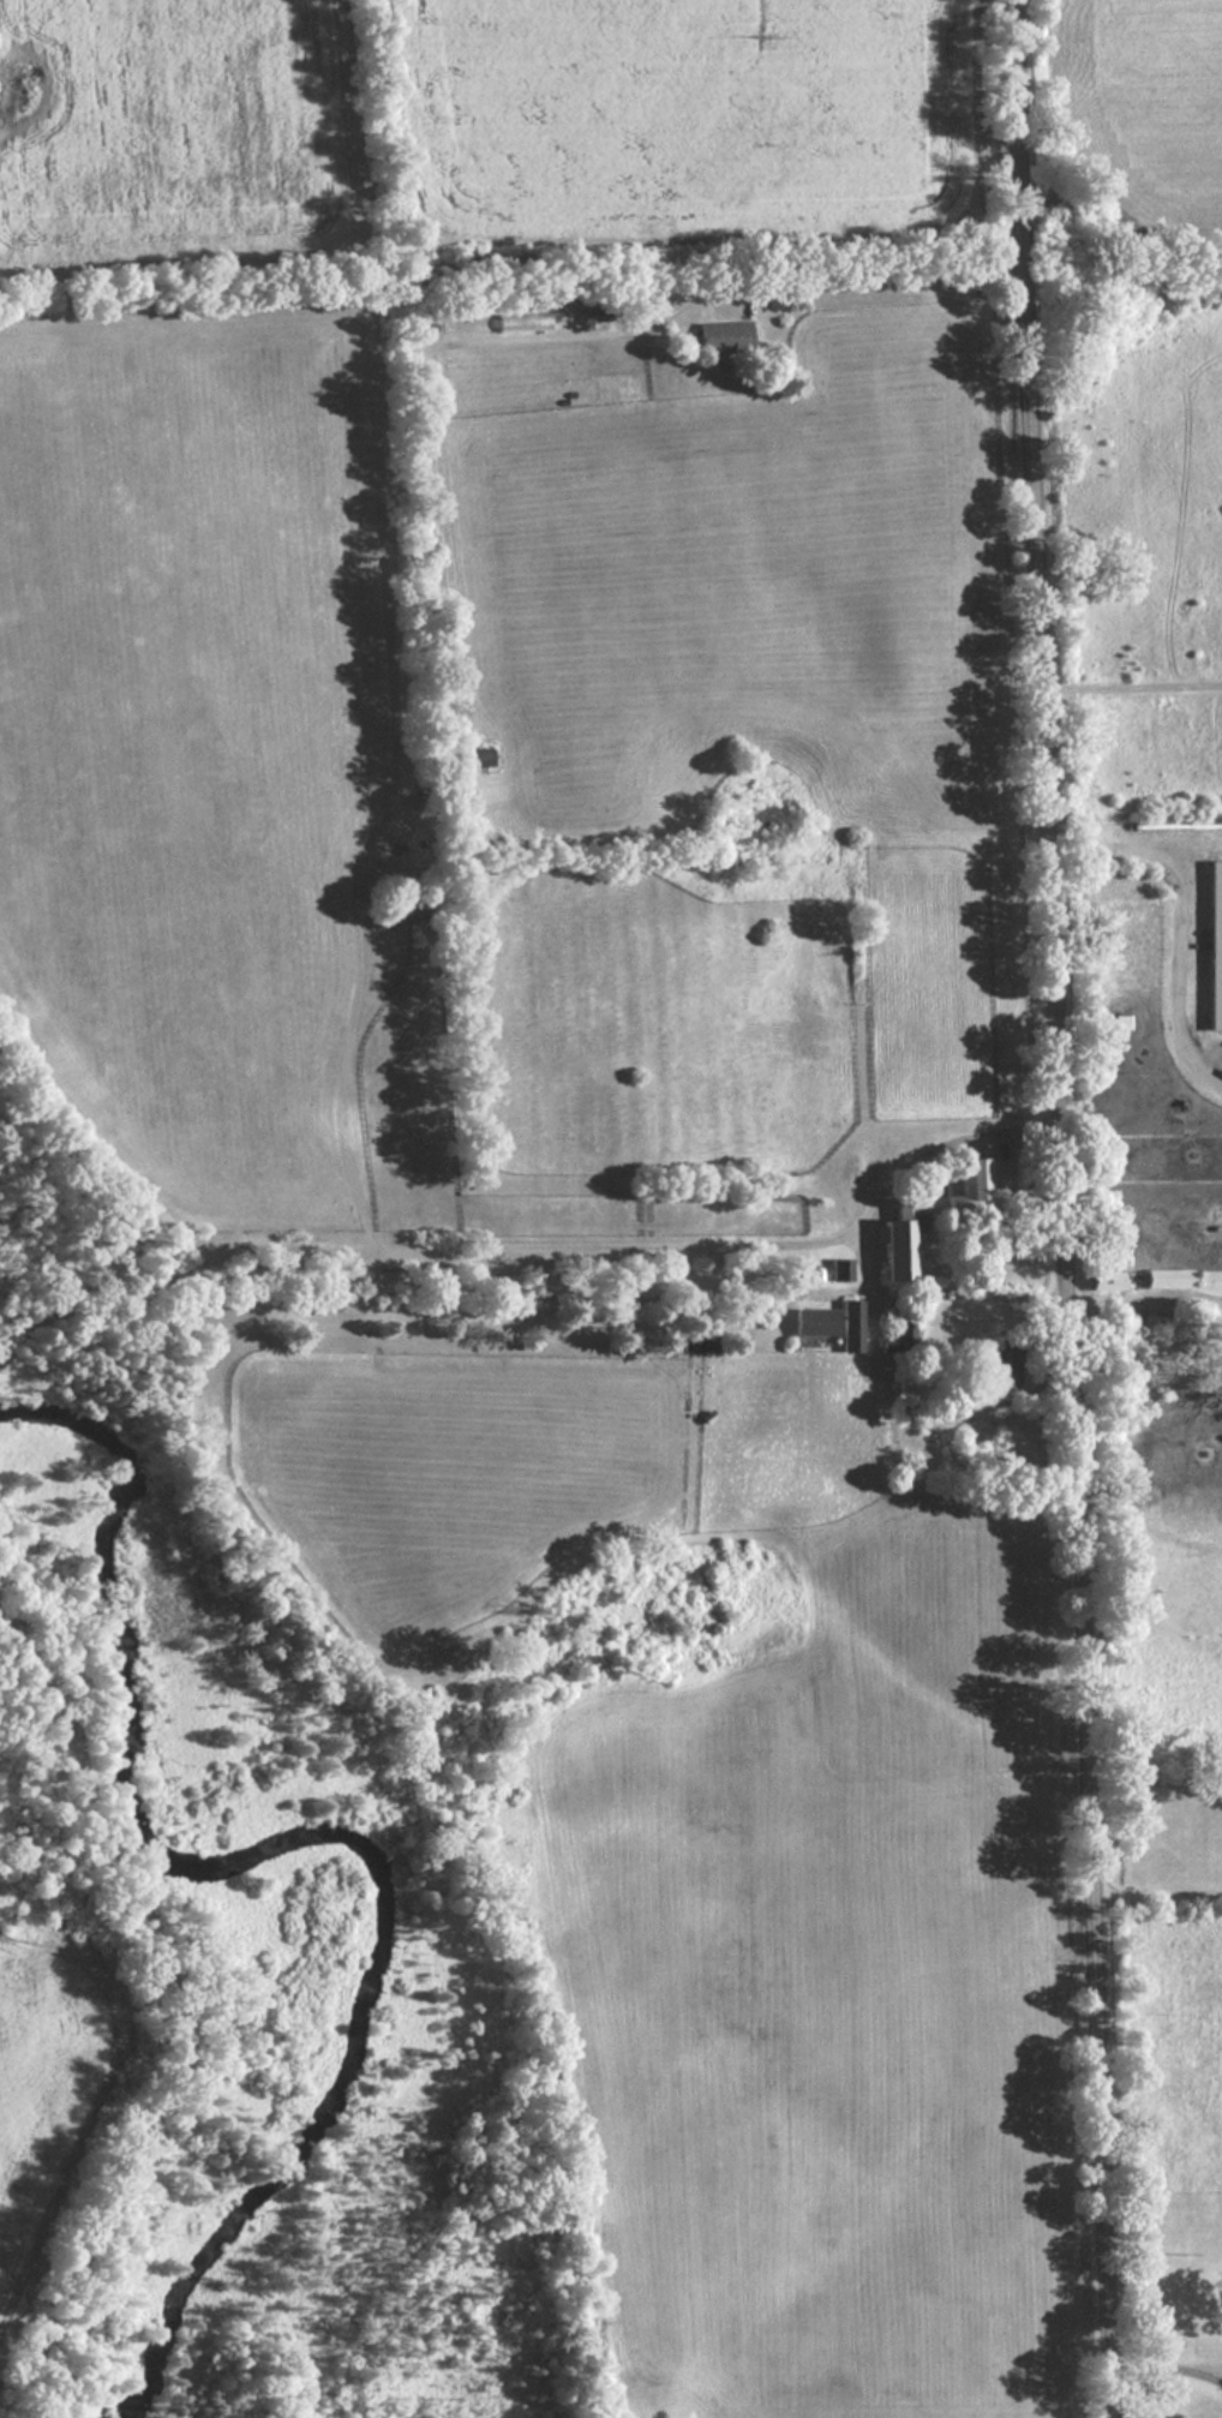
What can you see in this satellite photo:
road: (888, 279)
building: (601, 304)
building: (724, 335)
road: (1133, 684)
building: (478, 756)
building: (414, 909)
road: (1185, 922)
building: (1216, 944)
building: (976, 1175)
road: (1066, 1208)
road: (858, 1234)
road: (580, 1239)
building: (897, 1247)
building: (841, 1268)
building: (1170, 1276)
building: (1107, 1279)
road: (1146, 1306)
building: (816, 1319)
building: (851, 1323)
building: (903, 1328)
building: (701, 1337)
building: (1005, 1363)
river: (317, 1838)
road: (1158, 1887)
road: (1168, 2366)

